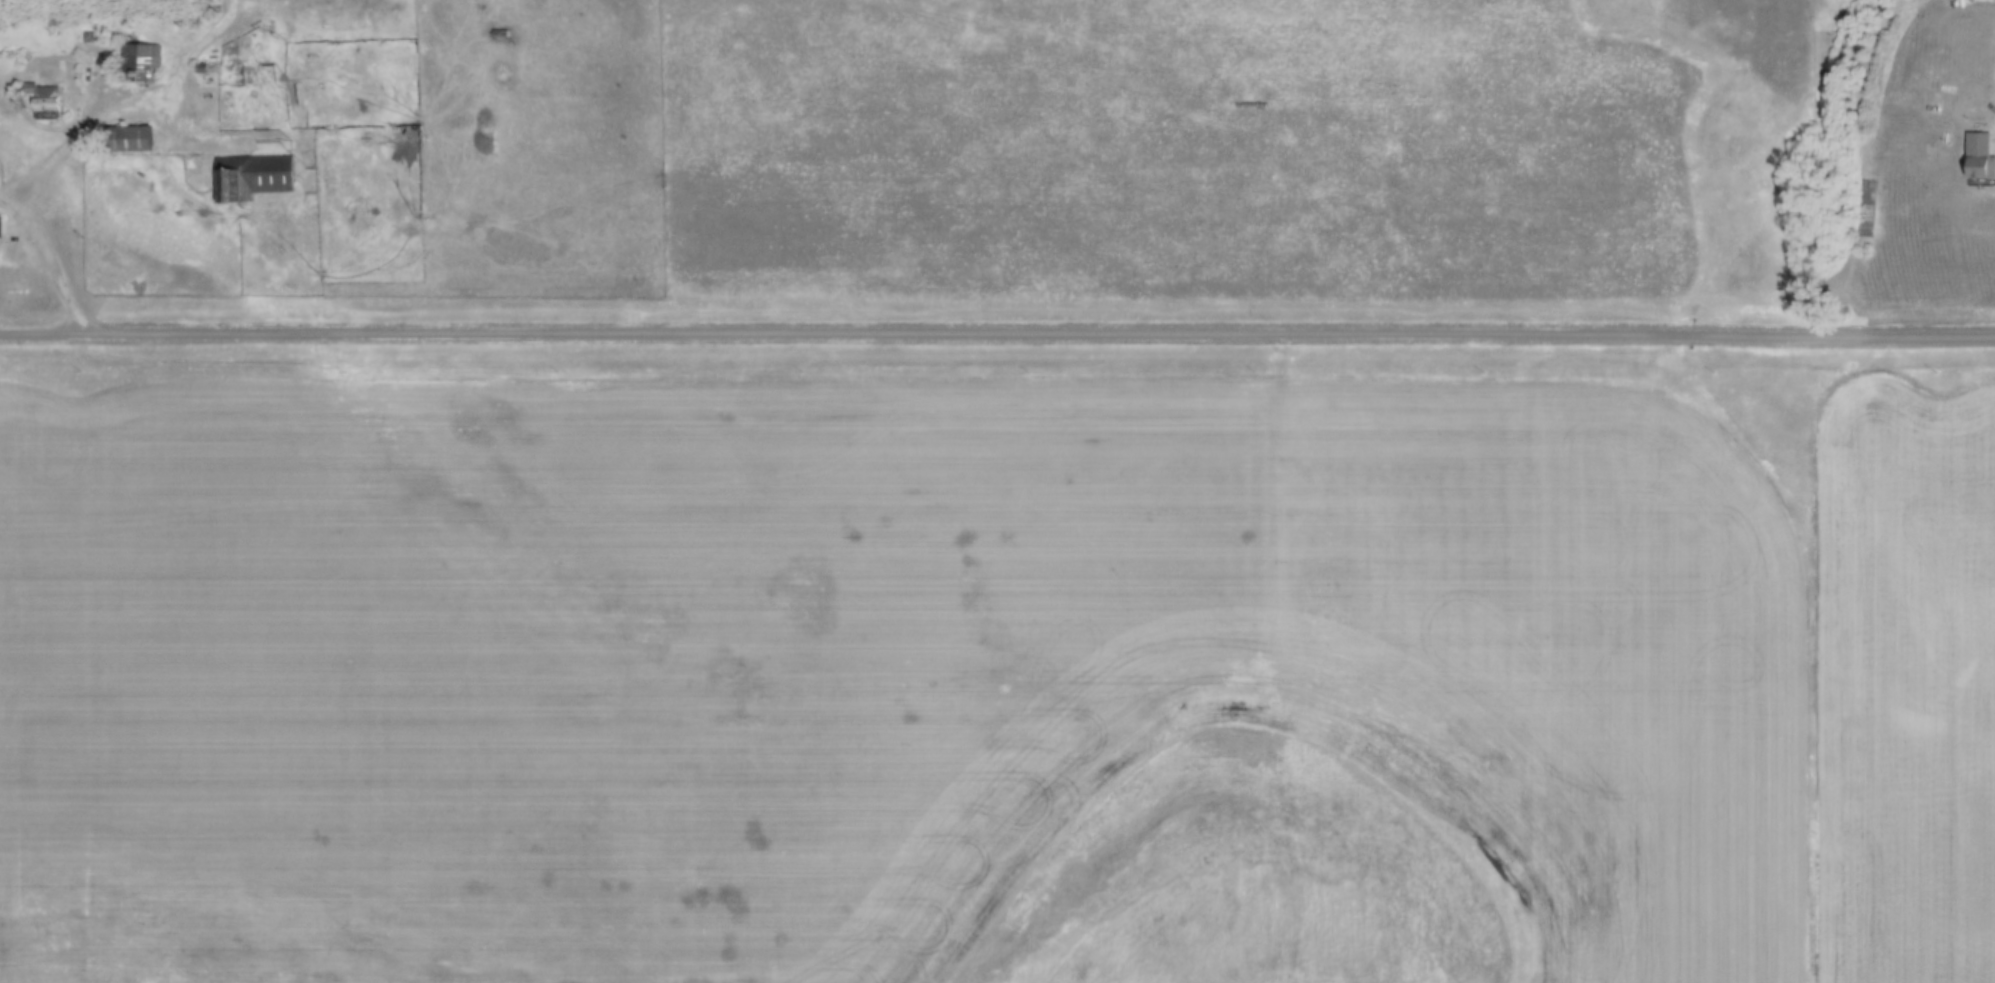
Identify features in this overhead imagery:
building: (141, 62)
building: (45, 100)
road: (177, 100)
road: (81, 128)
building: (129, 138)
building: (1980, 157)
building: (253, 177)
building: (0, 239)
road: (49, 259)
road: (997, 335)

